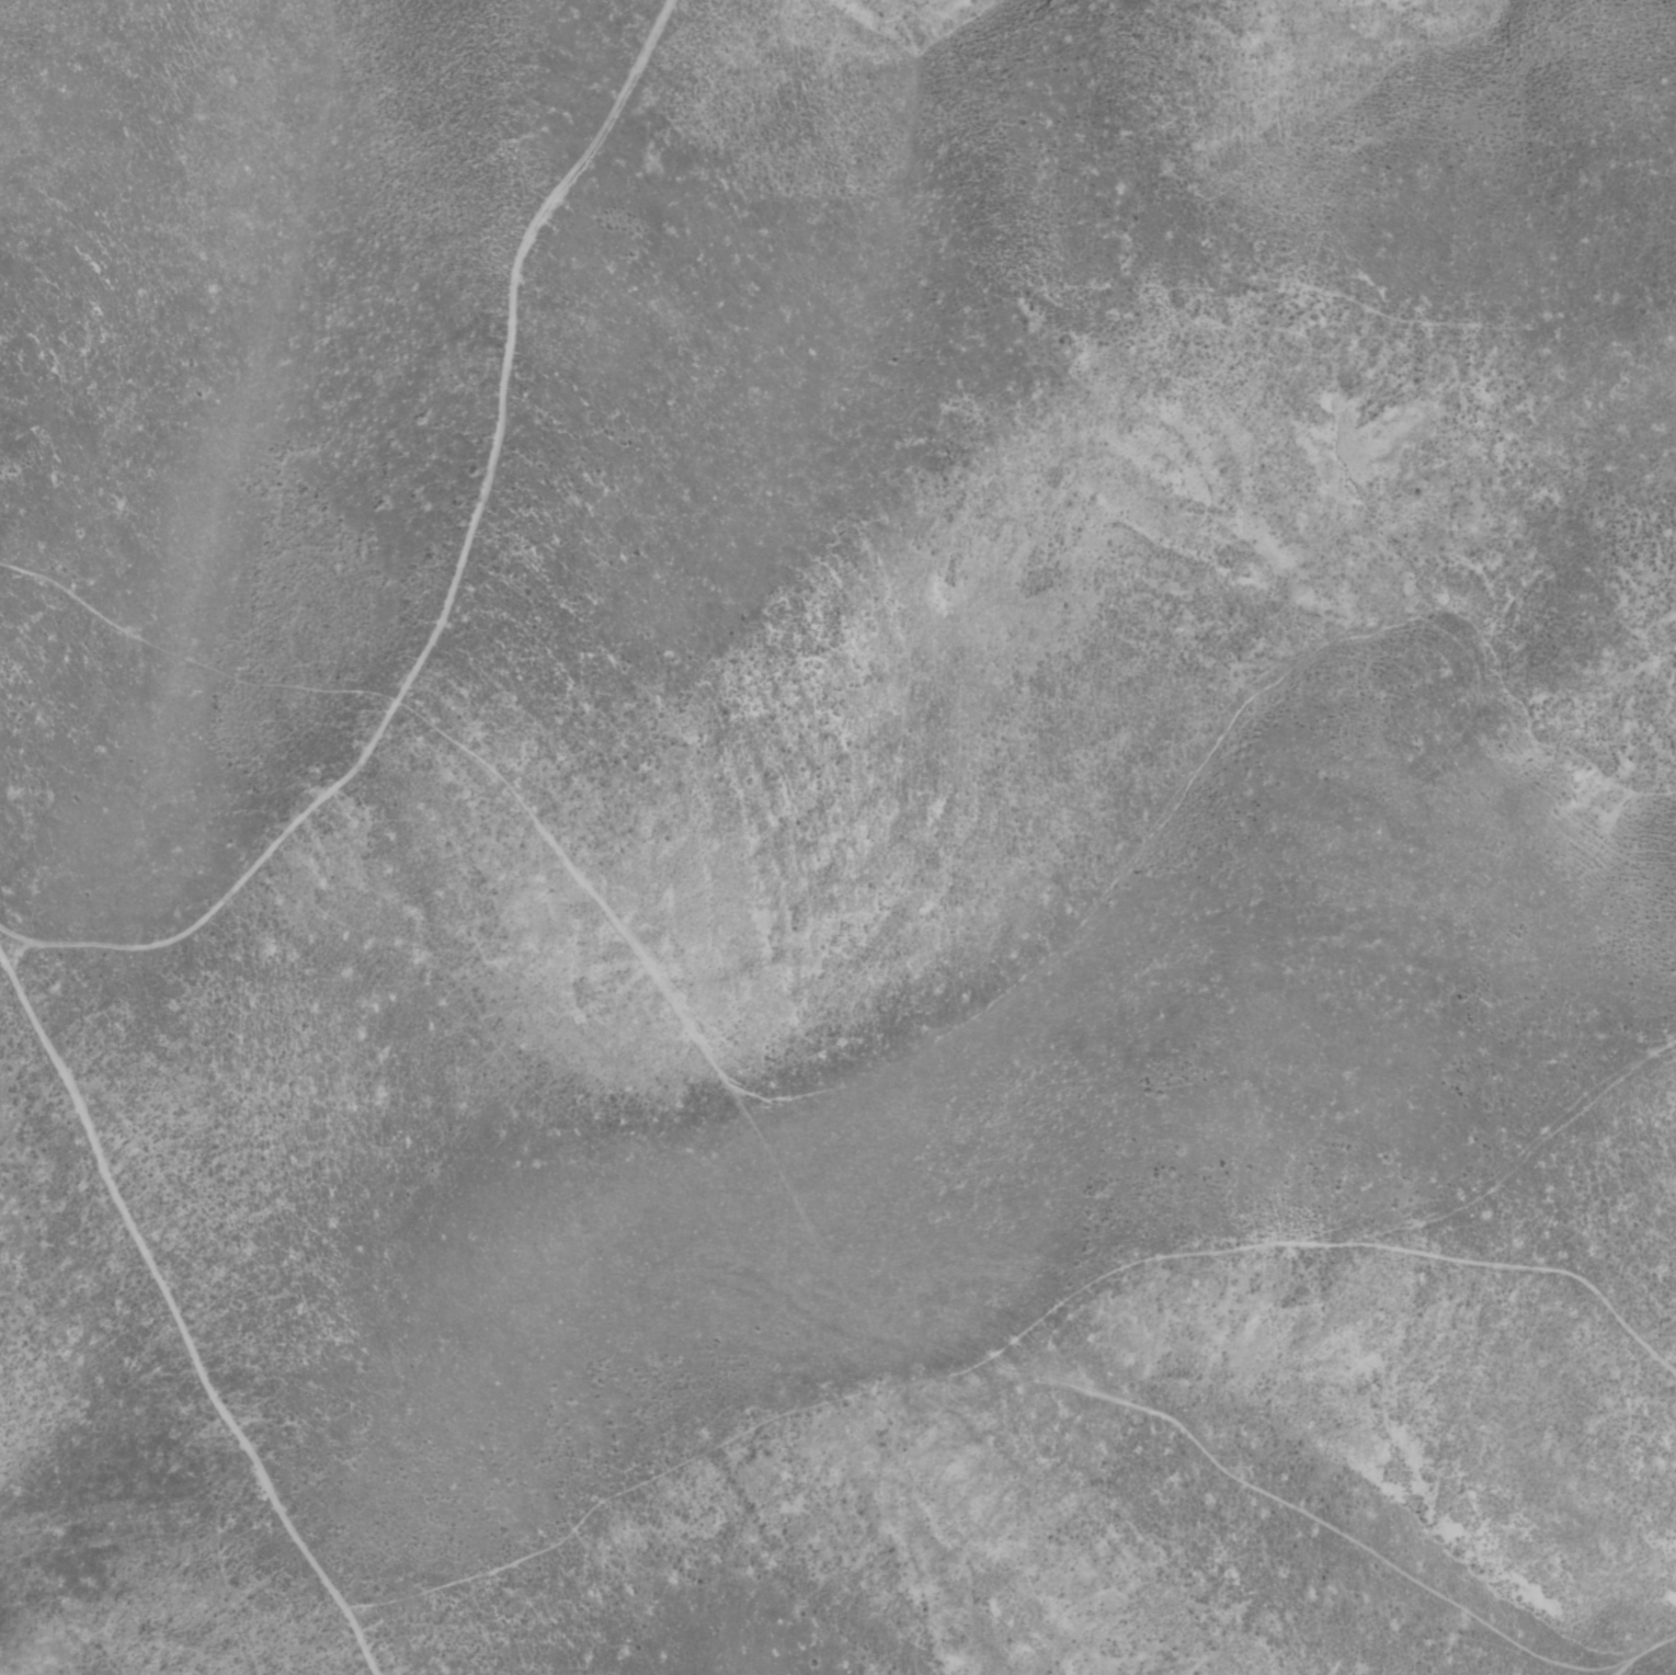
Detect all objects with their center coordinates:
road: (452, 588)
road: (182, 1320)

